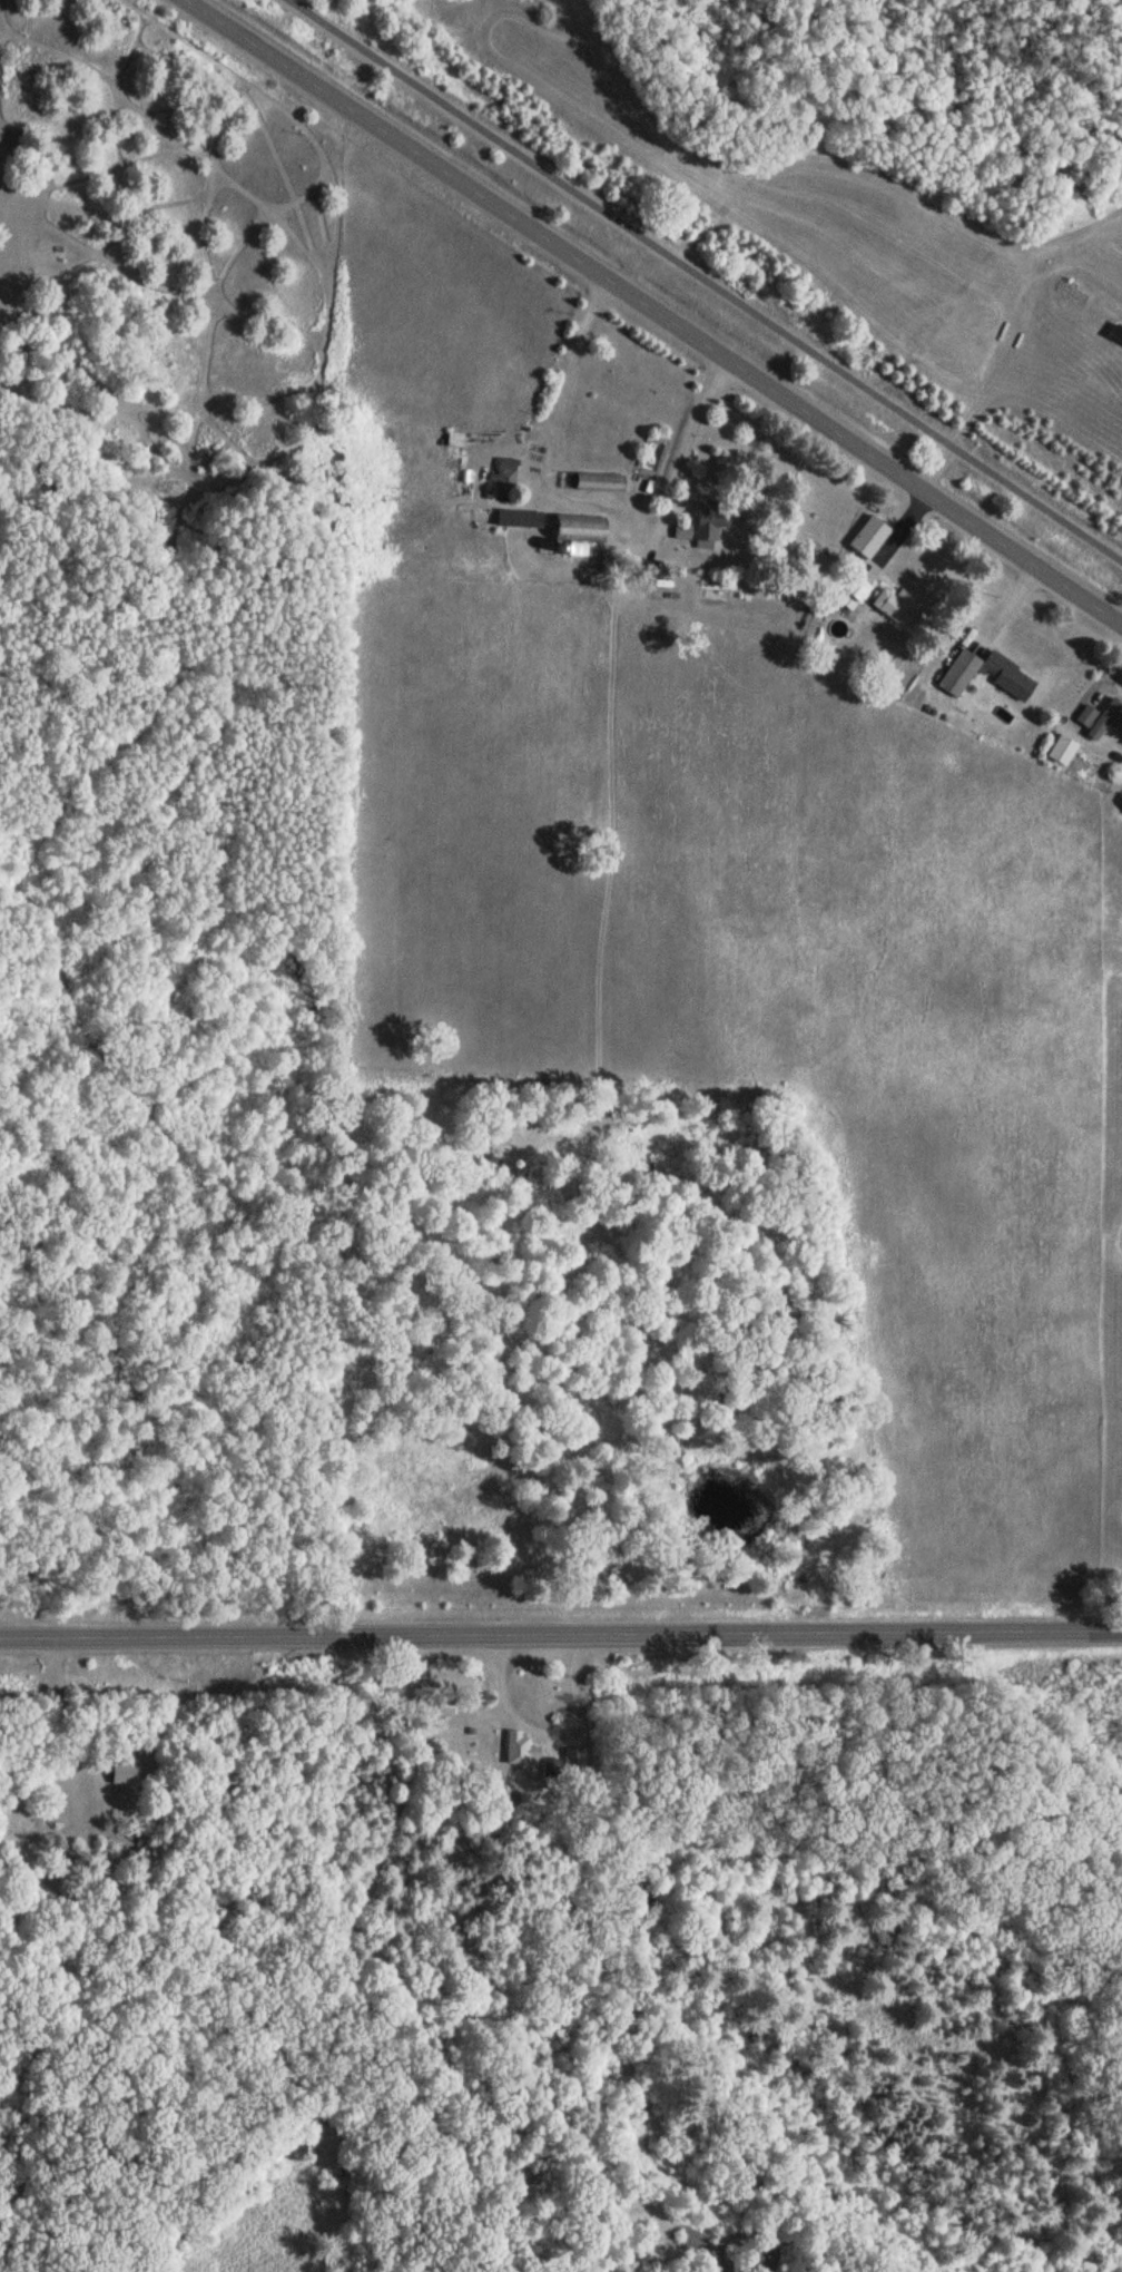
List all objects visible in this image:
road: (699, 282)
road: (654, 312)
building: (506, 474)
building: (600, 483)
building: (519, 519)
building: (580, 529)
building: (709, 530)
building: (867, 557)
building: (897, 607)
building: (986, 675)
building: (1099, 718)
building: (1062, 751)
road: (561, 1634)
building: (435, 1712)
building: (520, 1749)
building: (129, 1778)

